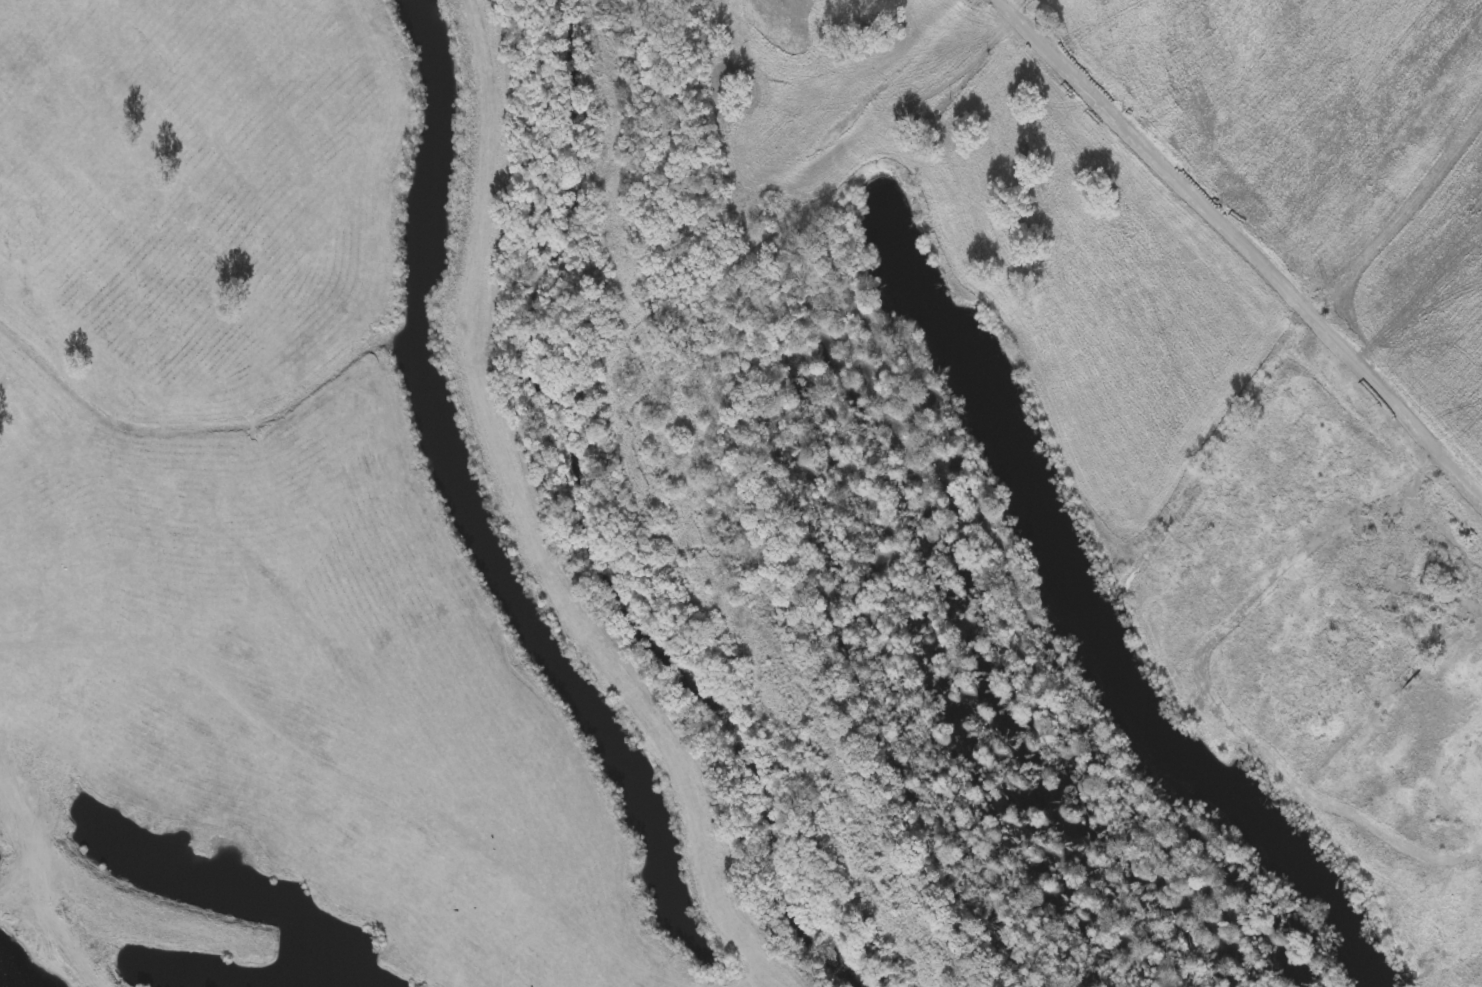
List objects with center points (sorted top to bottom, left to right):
road: (1240, 246)

